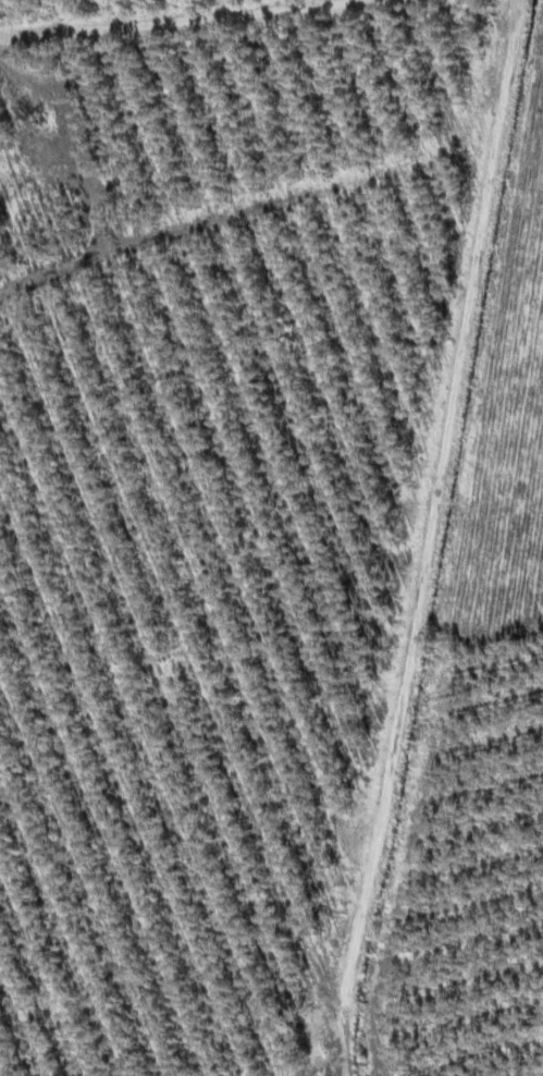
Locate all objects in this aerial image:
road: (176, 23)
road: (456, 623)

